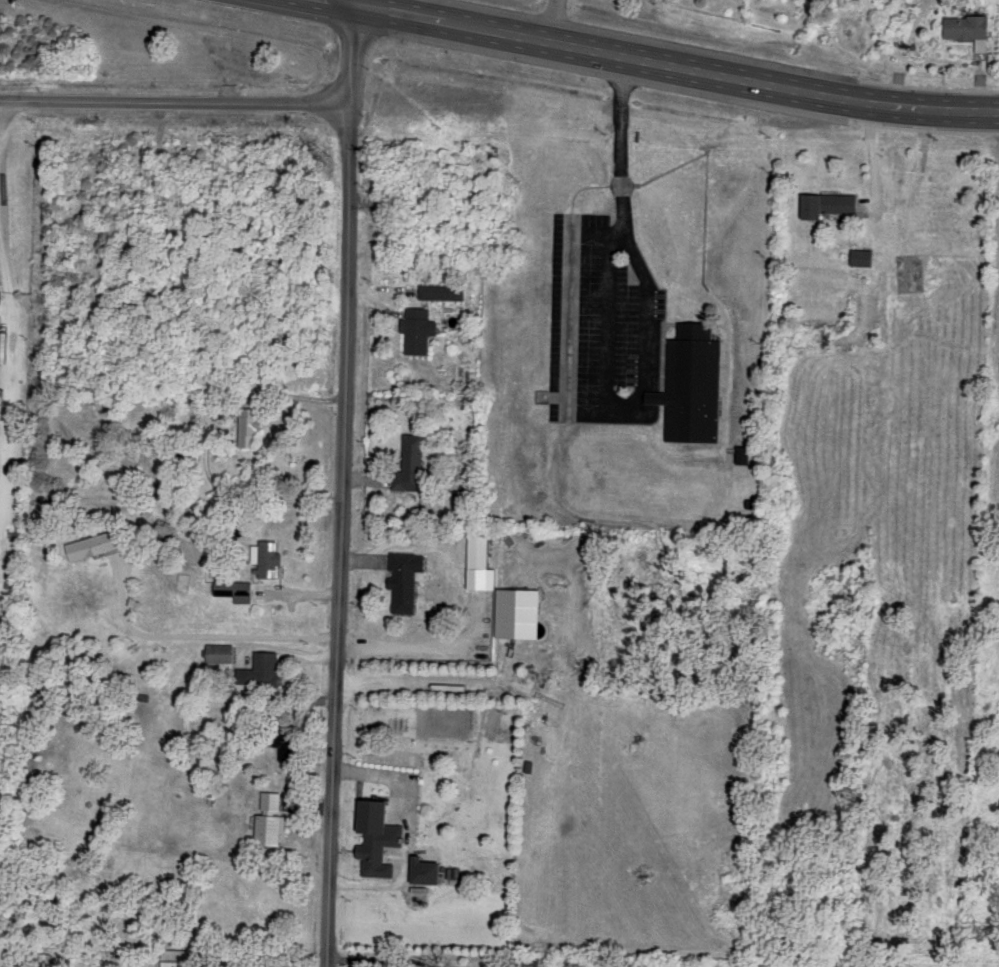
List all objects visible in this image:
road: (549, 25)
building: (964, 29)
road: (591, 39)
road: (541, 50)
road: (175, 102)
road: (892, 107)
road: (2, 108)
road: (622, 142)
road: (873, 160)
building: (823, 203)
building: (860, 256)
building: (444, 290)
building: (0, 309)
building: (422, 329)
road: (567, 373)
building: (693, 383)
building: (251, 426)
road: (210, 451)
building: (745, 453)
building: (414, 464)
road: (344, 489)
building: (97, 544)
building: (270, 556)
building: (484, 562)
building: (408, 579)
building: (238, 589)
building: (523, 612)
road: (194, 634)
road: (436, 640)
building: (224, 651)
building: (265, 668)
building: (287, 741)
road: (387, 774)
building: (225, 794)
building: (274, 800)
building: (274, 827)
building: (382, 836)
building: (432, 870)
building: (456, 874)
building: (179, 957)
building: (42, 958)
building: (539, 960)
road: (373, 962)
building: (569, 962)

